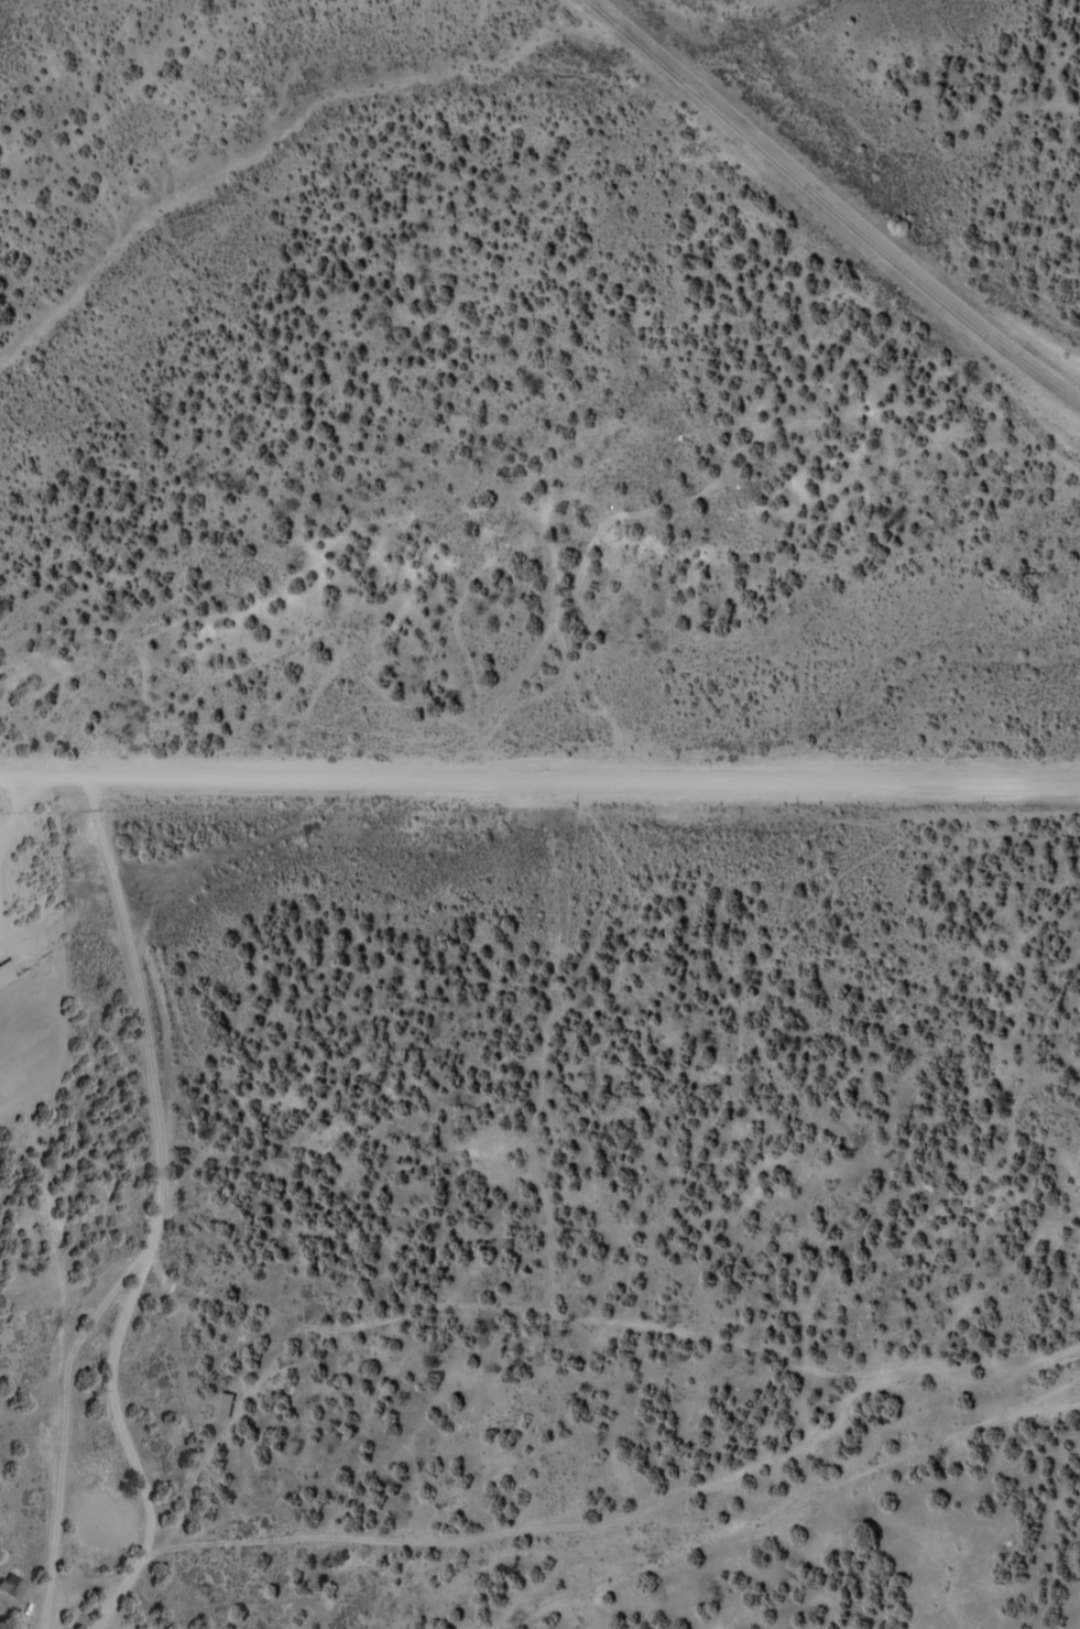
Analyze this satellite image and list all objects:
road: (844, 193)
road: (539, 774)
building: (6, 970)
road: (176, 1152)
building: (221, 1405)
road: (69, 1423)
road: (393, 1530)
building: (10, 1586)

